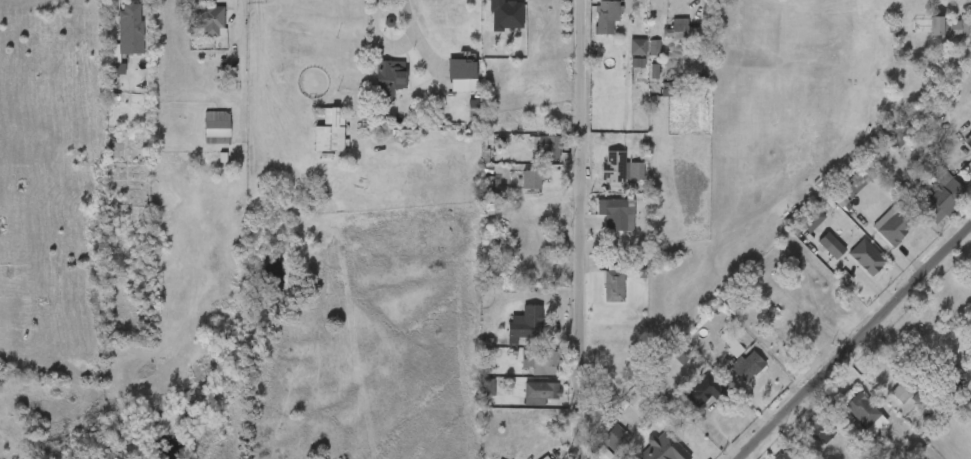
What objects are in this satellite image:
building: (608, 15)
building: (213, 19)
building: (127, 21)
building: (590, 24)
building: (197, 28)
building: (947, 28)
building: (676, 31)
building: (928, 36)
building: (661, 37)
building: (114, 38)
road: (394, 51)
building: (621, 55)
building: (638, 55)
building: (467, 67)
building: (621, 70)
building: (390, 79)
building: (446, 83)
building: (373, 87)
building: (458, 115)
building: (337, 117)
building: (218, 127)
building: (201, 133)
building: (899, 137)
building: (315, 141)
building: (968, 141)
building: (881, 143)
building: (548, 148)
building: (533, 155)
building: (613, 167)
building: (597, 175)
building: (527, 178)
building: (516, 187)
building: (929, 192)
building: (837, 194)
building: (615, 215)
building: (601, 221)
building: (896, 222)
building: (797, 228)
road: (578, 229)
building: (877, 233)
building: (815, 253)
building: (851, 265)
building: (614, 286)
building: (598, 294)
building: (524, 324)
road: (842, 334)
building: (719, 356)
building: (543, 362)
building: (751, 366)
building: (731, 373)
building: (904, 388)
building: (708, 391)
building: (539, 392)
building: (472, 394)
building: (689, 399)
building: (524, 400)
building: (889, 401)
building: (863, 412)
building: (845, 417)
building: (819, 428)
building: (611, 433)
building: (804, 437)
building: (597, 443)
building: (662, 448)
building: (784, 455)
building: (767, 458)

